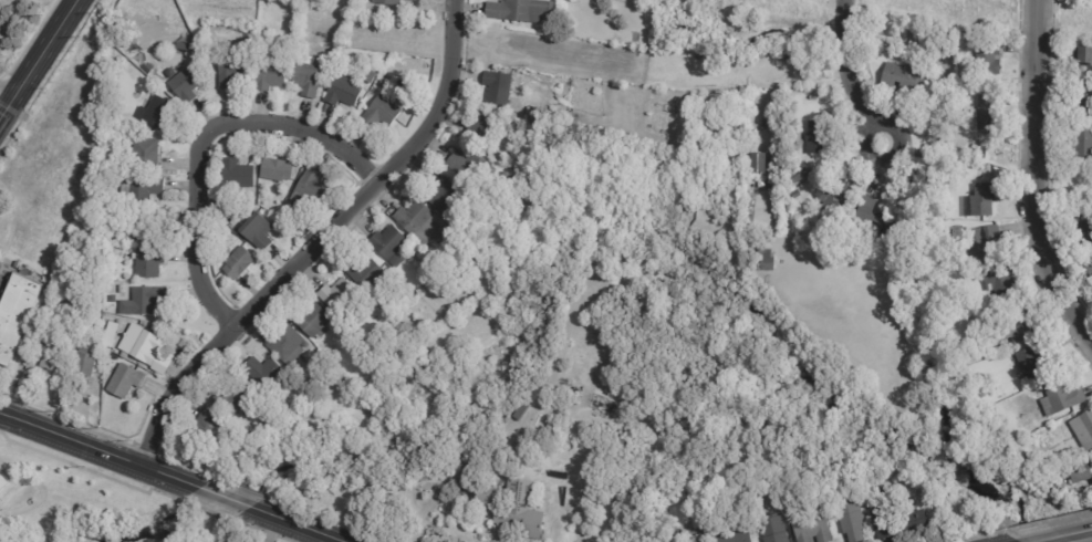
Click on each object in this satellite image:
building: (1090, 1)
building: (386, 2)
building: (519, 10)
road: (10, 18)
building: (680, 28)
building: (799, 54)
building: (981, 54)
building: (791, 56)
road: (38, 59)
building: (1083, 59)
building: (146, 66)
building: (863, 66)
building: (229, 70)
road: (851, 72)
building: (269, 74)
road: (791, 75)
building: (306, 77)
building: (902, 77)
building: (370, 80)
building: (381, 82)
building: (186, 85)
building: (496, 87)
road: (7, 92)
building: (342, 92)
building: (1081, 98)
building: (928, 100)
building: (985, 113)
building: (157, 115)
building: (379, 115)
building: (480, 127)
building: (119, 134)
building: (818, 136)
road: (201, 144)
building: (1083, 144)
building: (974, 149)
building: (144, 154)
building: (757, 163)
building: (970, 165)
building: (466, 167)
building: (274, 170)
building: (799, 174)
building: (237, 175)
road: (1041, 181)
road: (376, 183)
building: (144, 189)
building: (477, 189)
building: (308, 191)
building: (444, 196)
building: (833, 197)
building: (979, 201)
building: (289, 211)
building: (437, 218)
building: (867, 219)
building: (417, 222)
building: (141, 226)
building: (886, 229)
building: (256, 232)
building: (1084, 232)
building: (980, 241)
building: (388, 244)
building: (466, 247)
building: (763, 261)
building: (148, 263)
building: (238, 263)
building: (433, 267)
building: (451, 267)
building: (1090, 270)
building: (365, 274)
building: (1000, 283)
building: (116, 290)
building: (457, 290)
building: (335, 294)
building: (90, 299)
building: (144, 300)
building: (18, 314)
building: (312, 322)
building: (1015, 326)
building: (52, 332)
building: (110, 334)
building: (285, 344)
building: (139, 345)
building: (360, 348)
building: (48, 356)
building: (1033, 359)
building: (82, 366)
building: (262, 372)
building: (124, 382)
building: (345, 387)
road: (175, 392)
building: (1060, 398)
building: (233, 399)
building: (603, 405)
building: (519, 413)
building: (274, 419)
building: (206, 428)
building: (1083, 430)
road: (97, 451)
building: (457, 461)
building: (1080, 471)
building: (1060, 472)
building: (2, 480)
building: (460, 489)
road: (223, 498)
building: (511, 509)
building: (878, 514)
building: (849, 518)
road: (294, 524)
building: (810, 528)
building: (771, 530)
road: (1063, 535)
building: (737, 538)
building: (697, 540)

